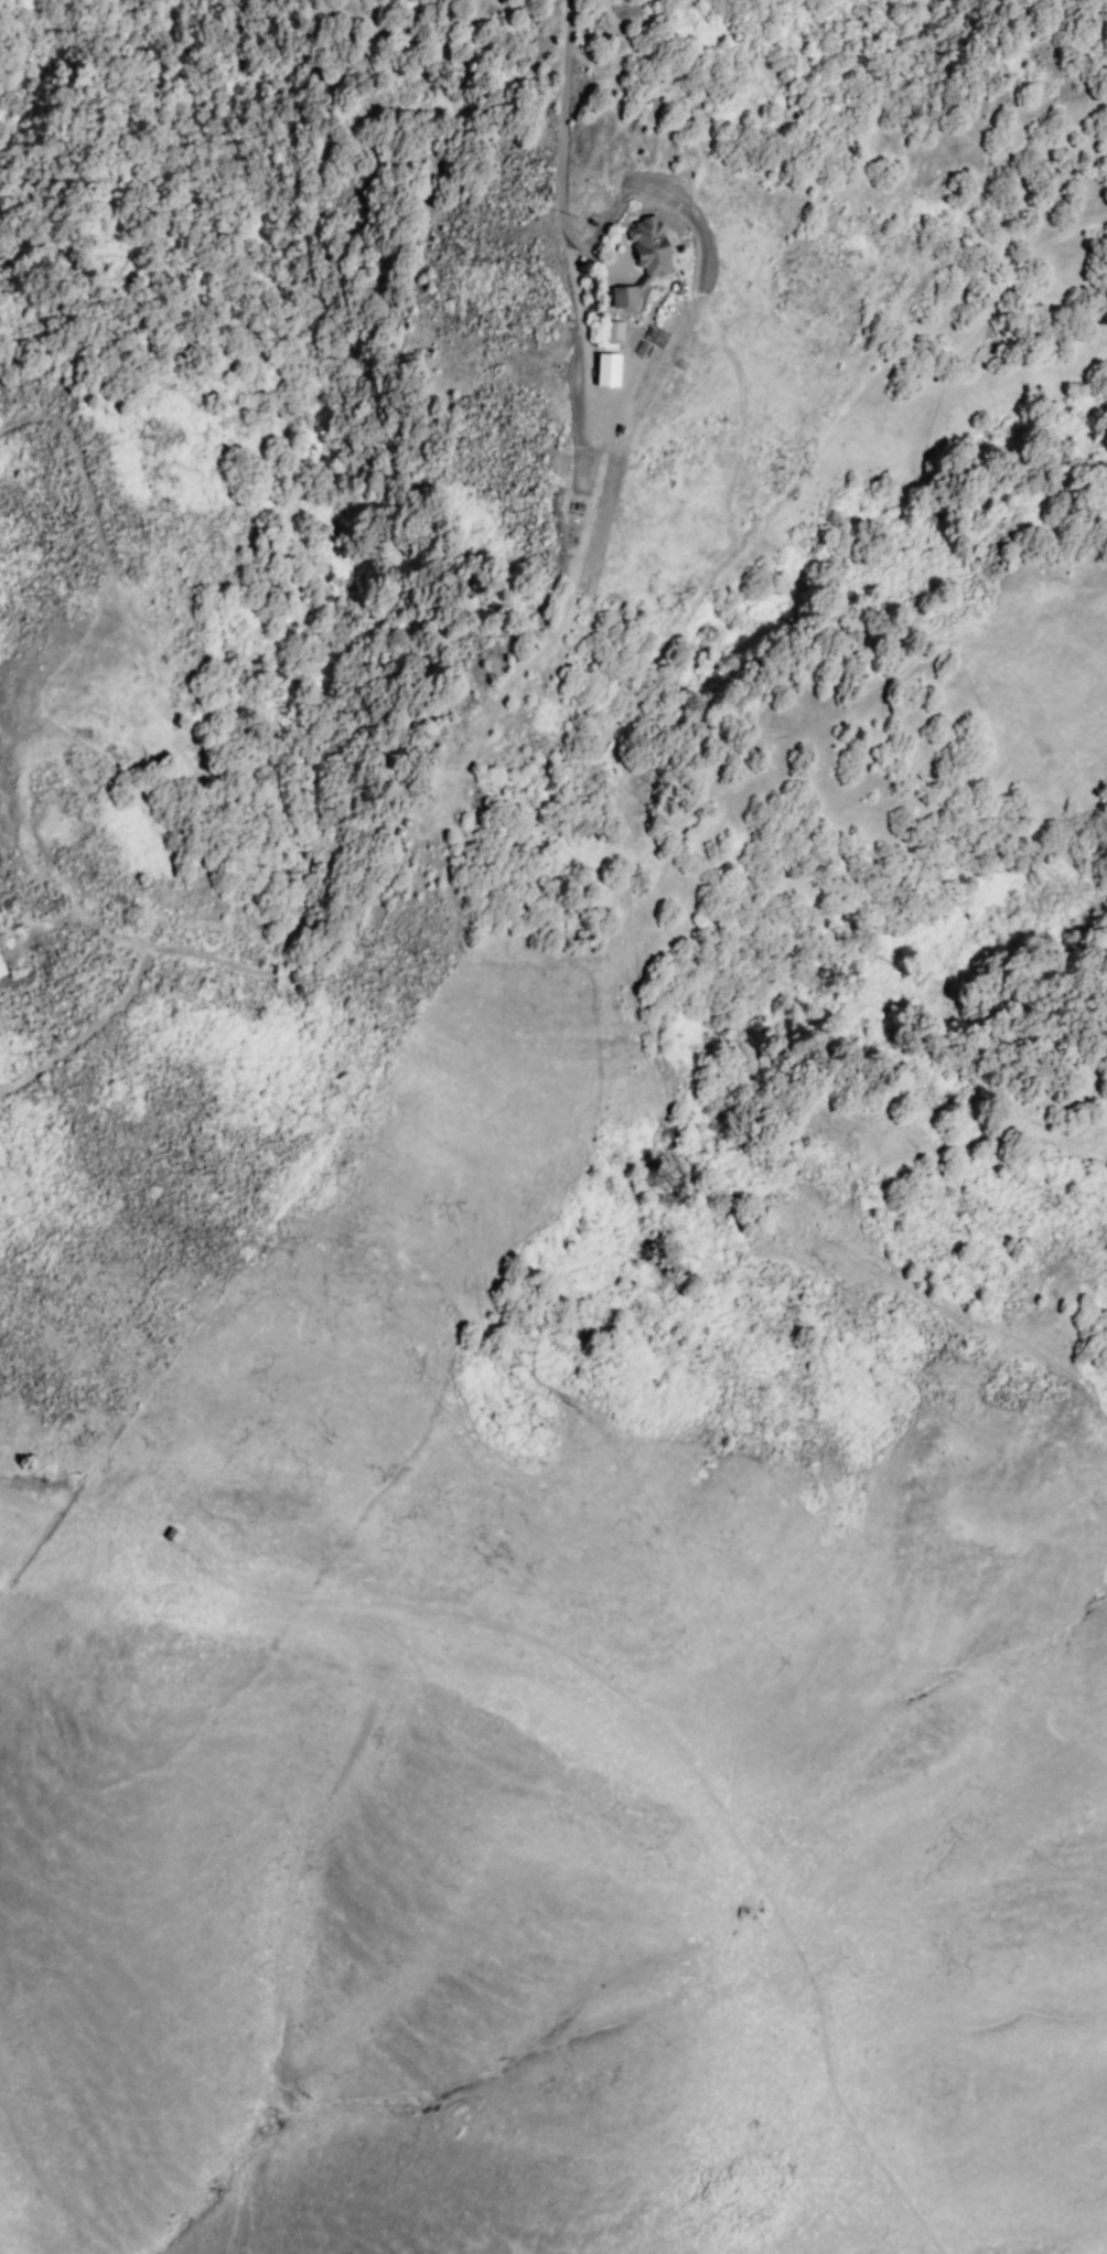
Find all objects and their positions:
road: (570, 125)
building: (648, 250)
building: (622, 303)
building: (613, 330)
building: (612, 357)
road: (454, 792)
building: (3, 966)
road: (619, 1681)

